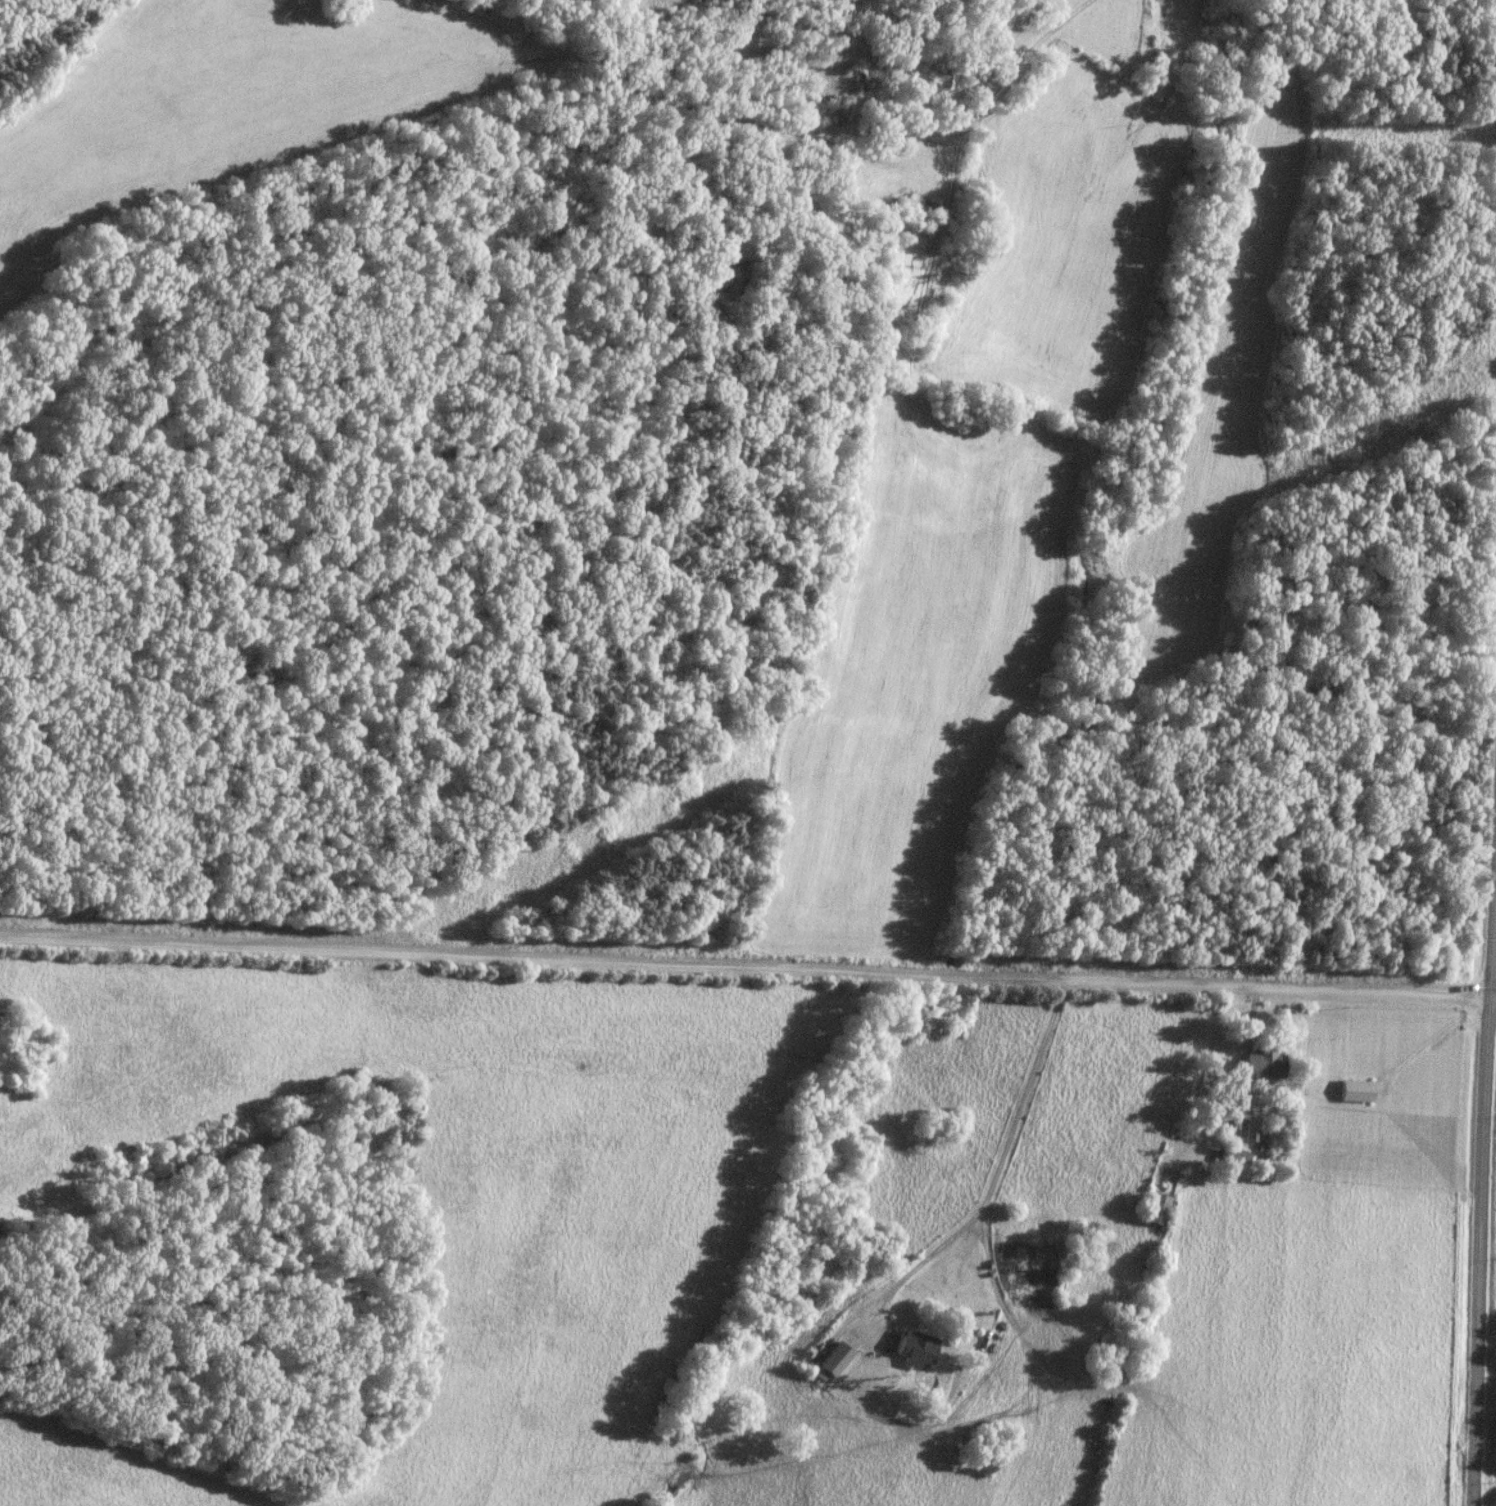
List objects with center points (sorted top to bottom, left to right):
road: (1030, 48)
building: (941, 79)
building: (896, 137)
building: (883, 225)
road: (1493, 959)
road: (748, 967)
road: (1433, 1038)
building: (1264, 1066)
building: (1234, 1158)
road: (994, 1178)
building: (1156, 1210)
road: (1481, 1253)
building: (1052, 1262)
building: (913, 1351)
building: (829, 1360)

